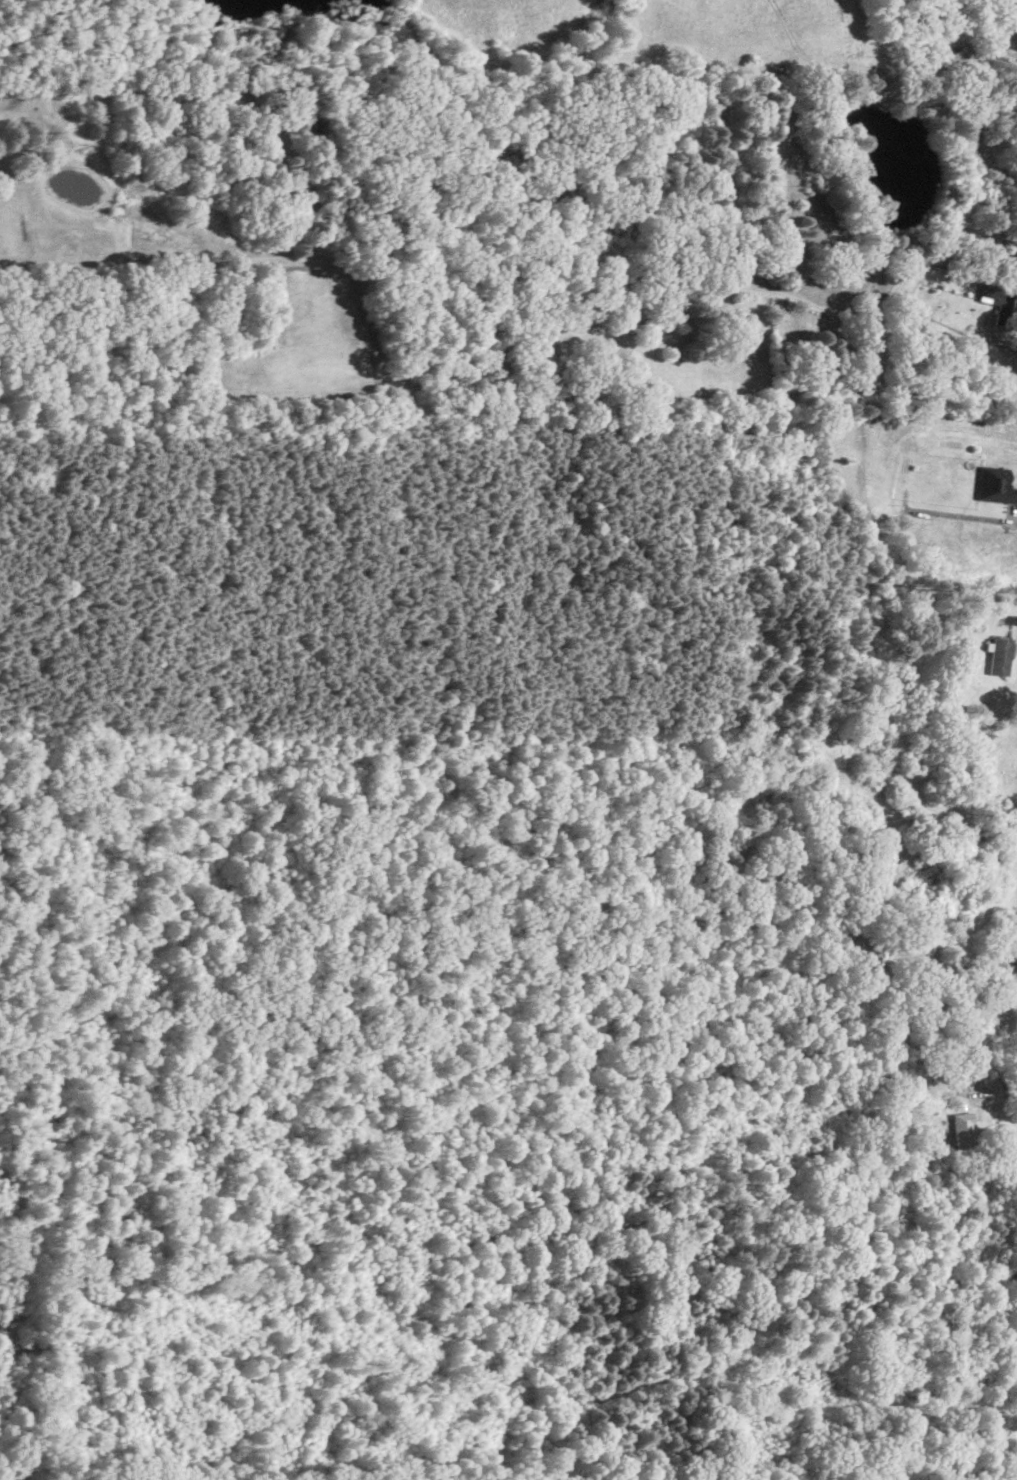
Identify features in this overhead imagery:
road: (896, 278)
building: (995, 296)
building: (994, 484)
road: (1014, 521)
road: (1014, 620)
building: (998, 655)
road: (961, 967)
road: (998, 1093)
building: (961, 1127)

